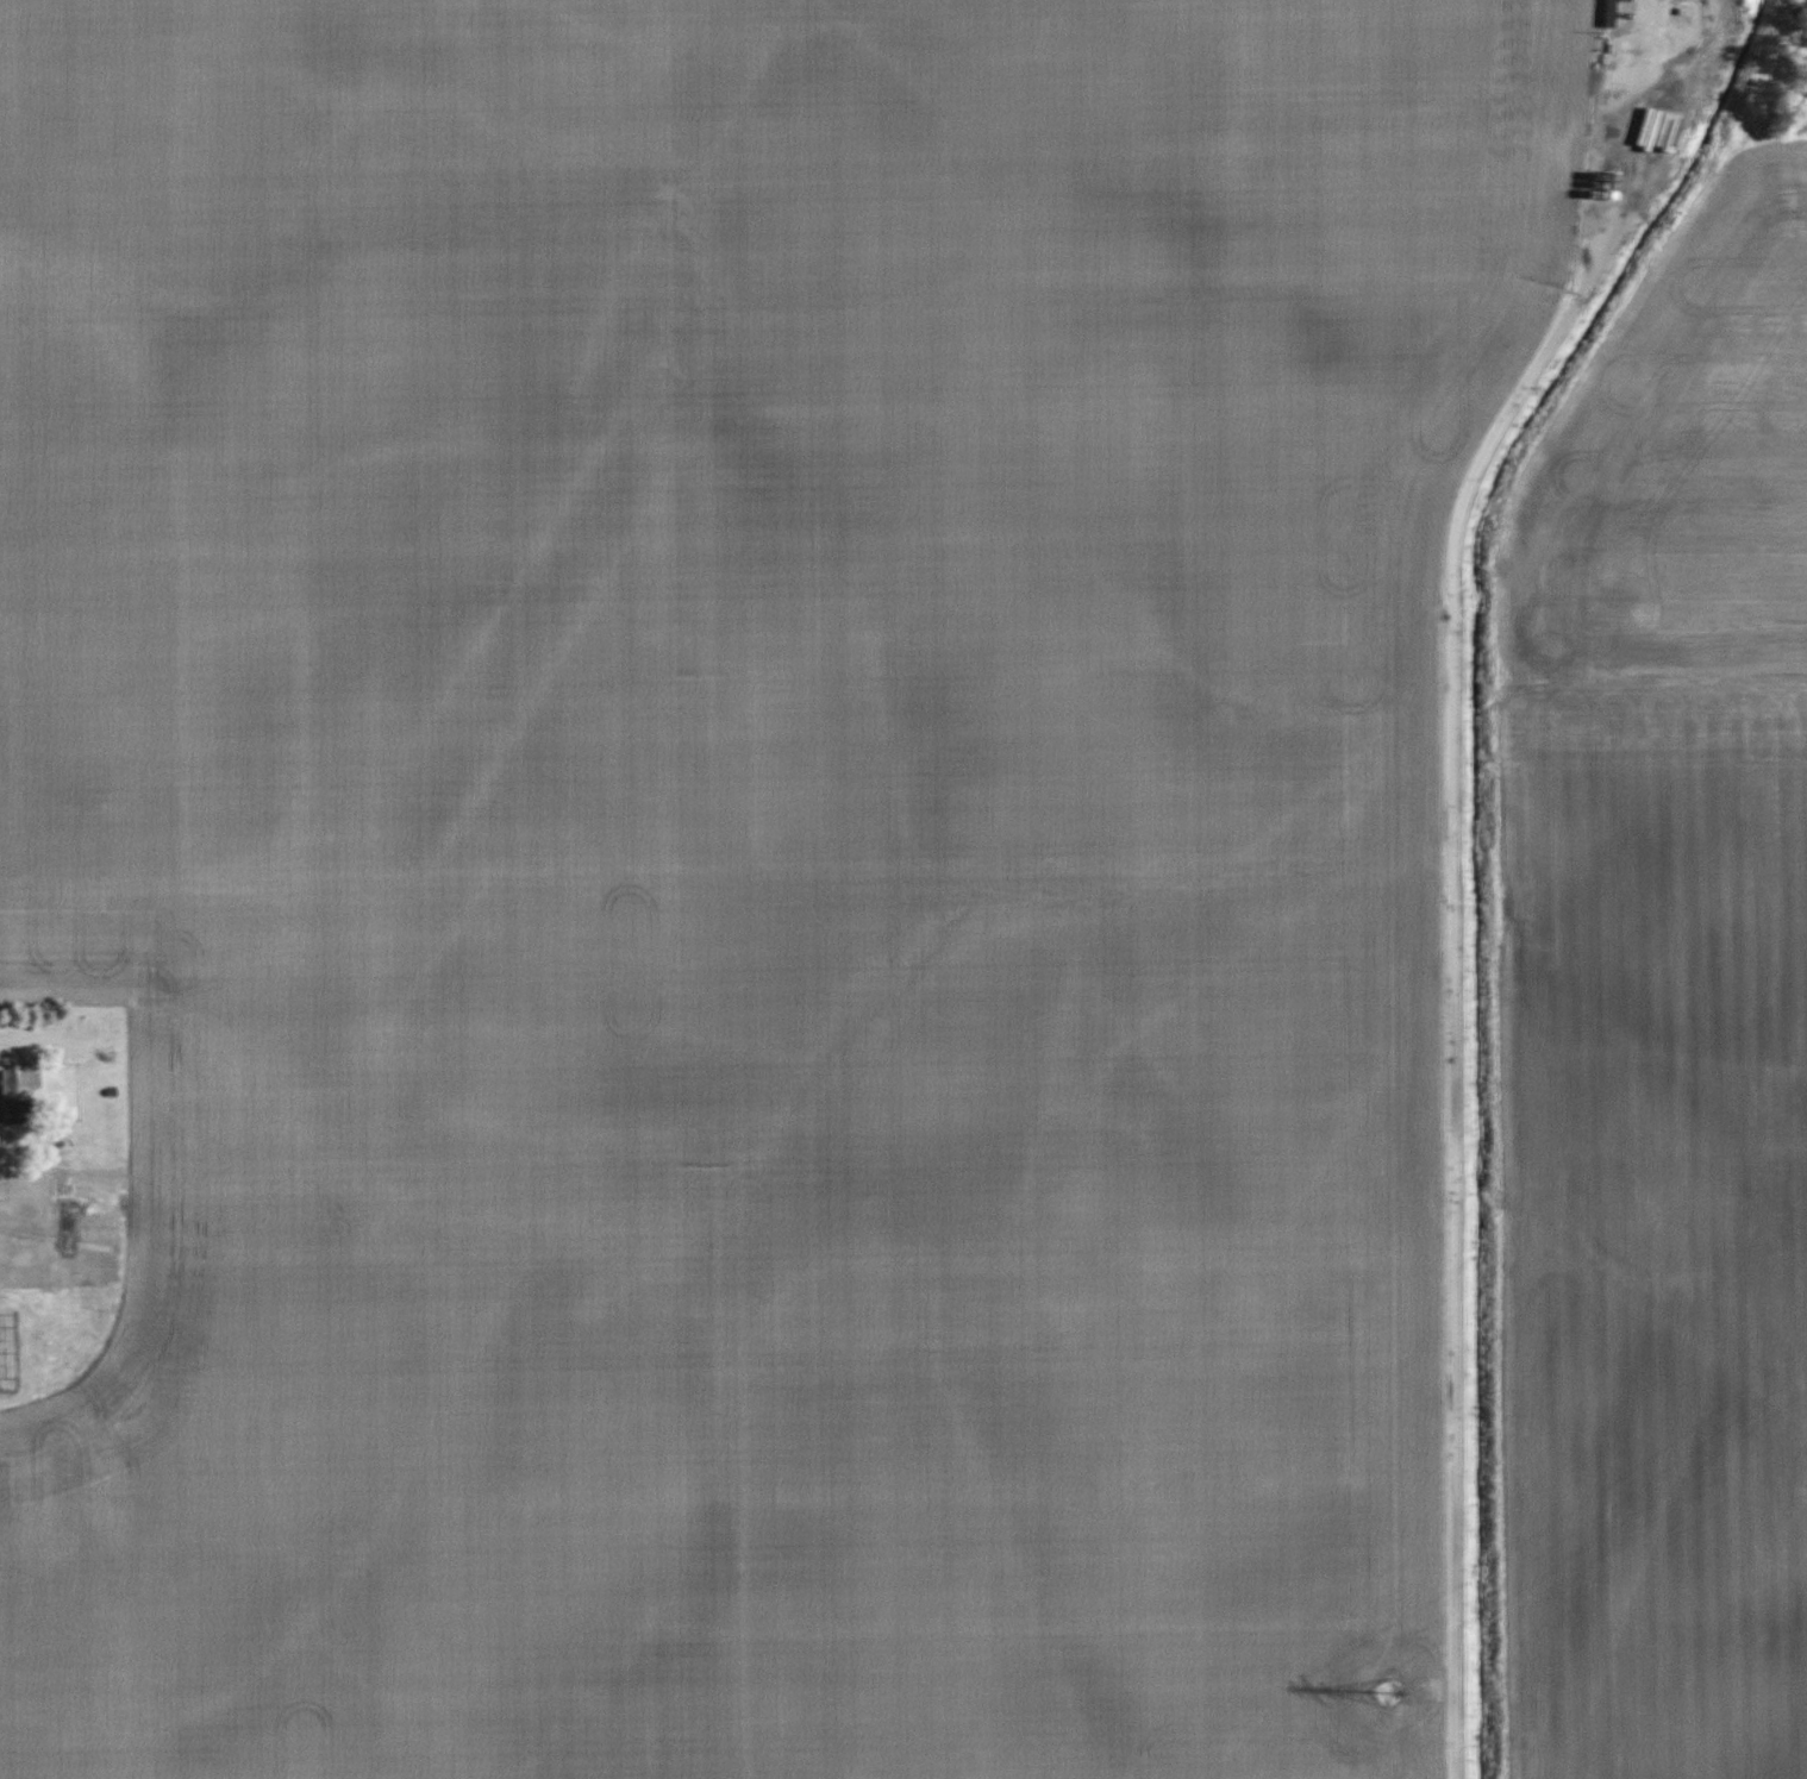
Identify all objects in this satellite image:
building: (1609, 13)
building: (12, 1097)
power tower: (1386, 1692)

